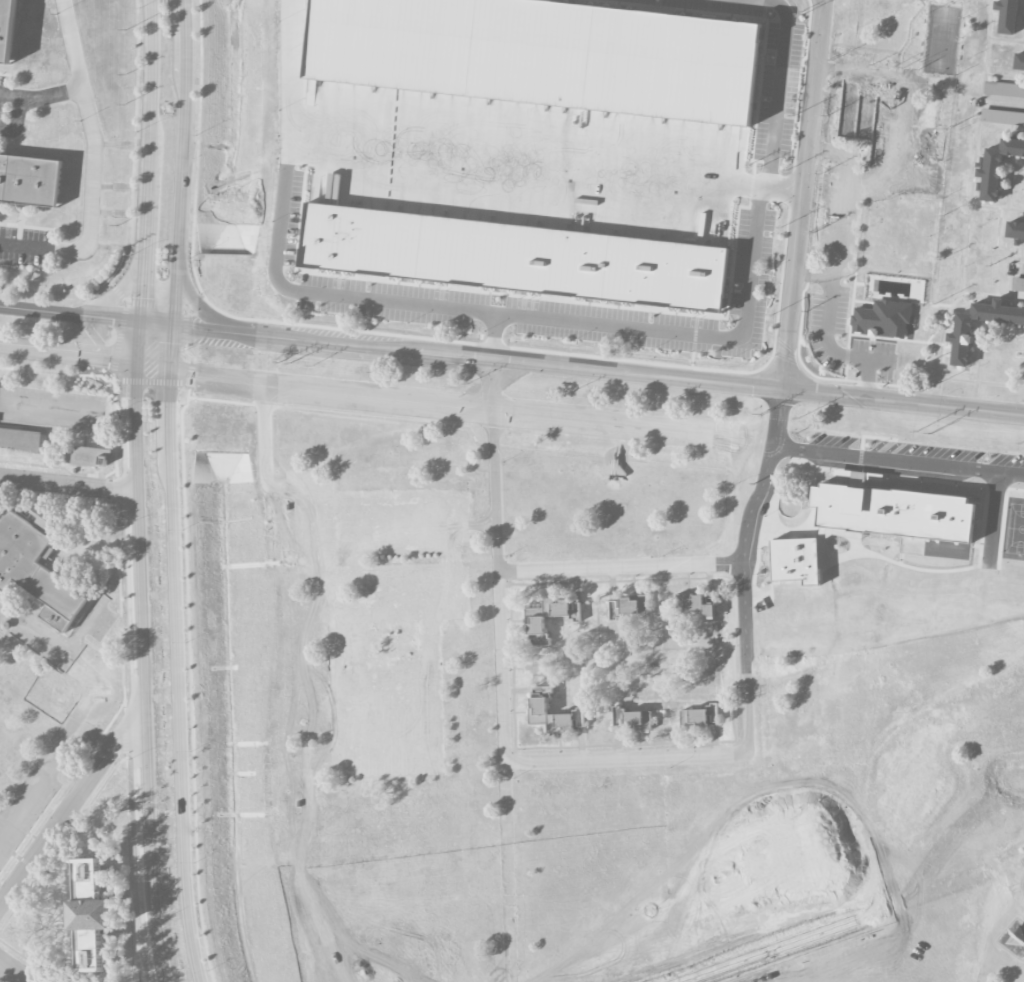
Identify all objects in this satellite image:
building: (1007, 15)
road: (800, 26)
building: (8, 29)
building: (542, 53)
building: (1019, 62)
building: (1003, 89)
road: (42, 98)
road: (1005, 103)
building: (932, 109)
building: (1002, 117)
building: (877, 120)
road: (18, 123)
road: (93, 126)
road: (833, 147)
road: (149, 160)
road: (528, 160)
road: (183, 162)
building: (996, 166)
building: (30, 180)
road: (784, 187)
road: (846, 219)
road: (800, 224)
building: (1015, 230)
road: (44, 249)
building: (514, 257)
road: (1020, 270)
road: (815, 272)
building: (1018, 285)
road: (119, 293)
road: (200, 308)
road: (503, 310)
road: (69, 314)
building: (881, 319)
building: (962, 328)
road: (495, 335)
road: (137, 340)
railway: (785, 347)
road: (836, 348)
railway: (790, 359)
road: (581, 370)
road: (493, 381)
building: (20, 438)
building: (89, 456)
road: (898, 462)
road: (68, 483)
building: (894, 511)
building: (408, 527)
park: (1014, 529)
building: (796, 559)
road: (622, 569)
building: (35, 570)
building: (633, 604)
building: (695, 606)
building: (347, 617)
building: (536, 630)
road: (178, 654)
road: (143, 670)
road: (503, 691)
building: (552, 712)
building: (699, 716)
building: (637, 720)
road: (749, 721)
road: (66, 751)
road: (67, 809)
building: (90, 915)
road: (16, 970)

